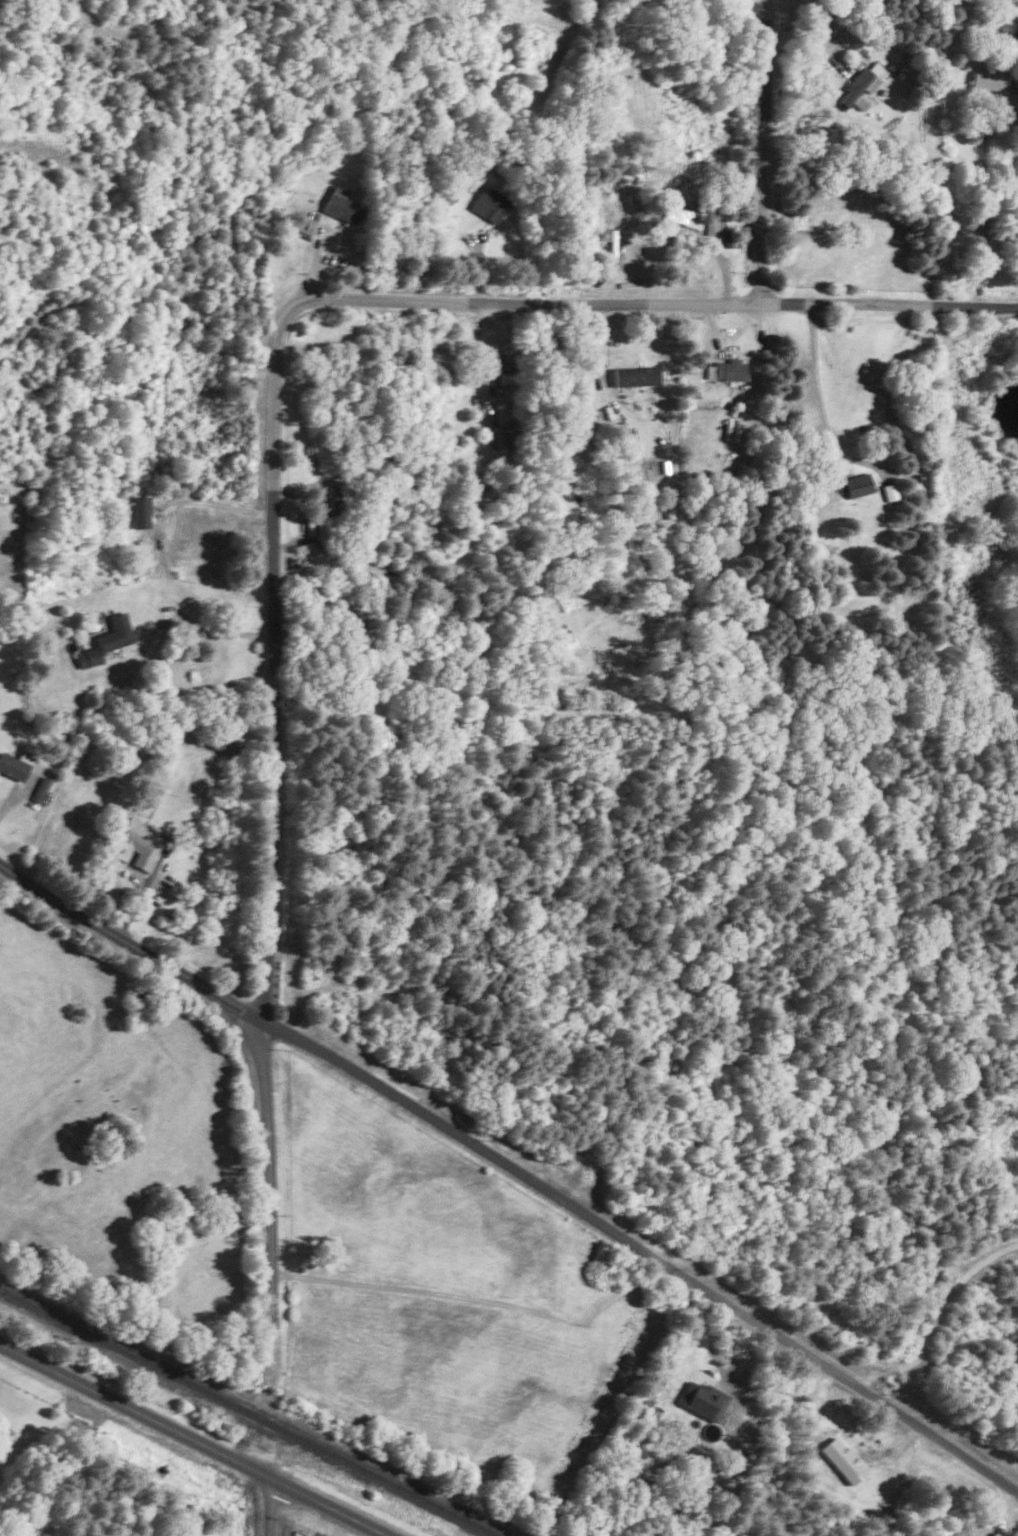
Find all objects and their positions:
road: (810, 41)
building: (991, 76)
building: (860, 85)
road: (761, 152)
building: (341, 204)
building: (489, 204)
road: (986, 204)
building: (684, 216)
building: (718, 236)
road: (652, 302)
road: (600, 350)
building: (730, 368)
building: (637, 375)
road: (818, 391)
building: (503, 426)
building: (495, 432)
building: (857, 484)
building: (889, 491)
building: (141, 511)
building: (325, 528)
road: (161, 557)
building: (107, 640)
building: (227, 746)
building: (14, 764)
building: (40, 788)
road: (270, 817)
building: (137, 844)
road: (133, 942)
road: (646, 1249)
building: (702, 1399)
road: (135, 1408)
railway: (252, 1410)
road: (267, 1505)
road: (324, 1506)

